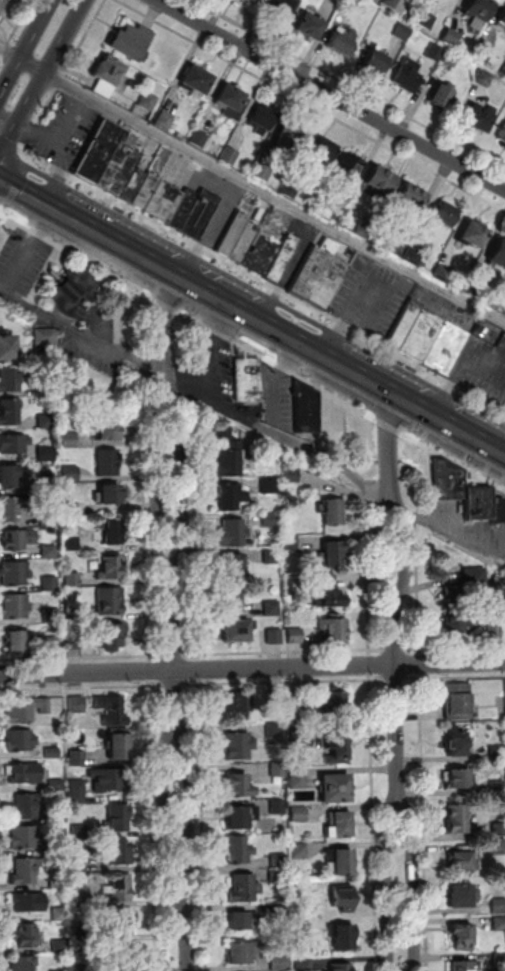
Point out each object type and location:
building: (340, 1)
building: (251, 2)
building: (352, 3)
building: (397, 4)
building: (2, 5)
building: (282, 9)
building: (479, 11)
building: (426, 20)
road: (18, 21)
building: (502, 21)
building: (310, 29)
building: (404, 32)
road: (82, 38)
building: (451, 38)
building: (131, 43)
road: (24, 44)
building: (341, 46)
road: (3, 47)
building: (436, 52)
building: (483, 53)
building: (451, 59)
building: (376, 64)
building: (110, 72)
building: (503, 73)
road: (41, 74)
building: (408, 76)
building: (484, 79)
road: (58, 82)
building: (197, 82)
road: (350, 84)
road: (328, 96)
building: (440, 98)
building: (148, 101)
building: (233, 104)
road: (312, 104)
road: (38, 119)
building: (165, 121)
building: (478, 121)
building: (263, 122)
parking lot: (66, 130)
building: (292, 137)
building: (502, 138)
building: (200, 140)
road: (11, 143)
building: (100, 152)
building: (230, 156)
building: (323, 158)
building: (120, 170)
building: (351, 171)
building: (264, 172)
building: (381, 183)
road: (252, 184)
road: (17, 186)
building: (134, 187)
building: (291, 189)
building: (147, 192)
road: (30, 198)
building: (412, 198)
building: (165, 202)
building: (185, 210)
building: (336, 213)
road: (3, 214)
building: (201, 215)
parking lot: (224, 215)
building: (443, 216)
road: (4, 224)
building: (367, 230)
building: (234, 234)
building: (472, 237)
building: (244, 243)
building: (396, 248)
building: (261, 255)
building: (413, 257)
building: (498, 257)
road: (80, 258)
building: (284, 258)
parking lot: (299, 259)
parking lot: (24, 262)
building: (442, 273)
building: (321, 276)
road: (263, 281)
building: (474, 285)
building: (75, 296)
parking lot: (372, 297)
road: (168, 305)
road: (121, 312)
road: (350, 316)
building: (406, 324)
road: (165, 326)
road: (84, 335)
road: (283, 335)
building: (423, 336)
building: (46, 337)
parking lot: (95, 344)
building: (448, 349)
building: (7, 350)
road: (216, 353)
road: (132, 361)
road: (277, 364)
parking lot: (485, 364)
road: (463, 368)
parking lot: (214, 370)
building: (50, 371)
road: (191, 377)
building: (9, 380)
building: (250, 382)
road: (168, 385)
building: (46, 389)
road: (189, 392)
parking lot: (281, 399)
building: (307, 411)
building: (9, 414)
building: (47, 422)
road: (388, 426)
building: (109, 433)
building: (224, 434)
road: (347, 435)
road: (284, 437)
building: (69, 440)
building: (14, 445)
road: (391, 450)
building: (47, 453)
building: (231, 460)
road: (454, 461)
building: (108, 463)
building: (71, 474)
building: (292, 475)
building: (8, 477)
road: (184, 479)
road: (158, 480)
building: (47, 483)
building: (450, 483)
building: (270, 487)
building: (232, 496)
building: (111, 497)
building: (479, 507)
building: (12, 508)
building: (70, 510)
building: (498, 511)
building: (334, 512)
building: (48, 519)
road: (146, 519)
building: (270, 520)
parking lot: (472, 527)
building: (233, 533)
building: (115, 534)
road: (448, 535)
building: (19, 540)
building: (72, 543)
building: (292, 543)
road: (419, 550)
building: (49, 553)
road: (382, 554)
road: (405, 554)
building: (271, 556)
building: (333, 556)
building: (234, 566)
building: (111, 568)
building: (16, 573)
building: (73, 580)
building: (50, 585)
building: (467, 589)
building: (329, 595)
building: (232, 600)
building: (110, 601)
building: (16, 607)
building: (272, 609)
building: (74, 616)
building: (52, 617)
building: (457, 627)
building: (238, 632)
building: (335, 633)
building: (113, 637)
building: (276, 637)
building: (296, 637)
building: (16, 642)
building: (52, 644)
building: (75, 644)
road: (455, 649)
road: (396, 650)
road: (286, 651)
road: (173, 653)
road: (175, 655)
road: (82, 657)
road: (422, 663)
road: (252, 668)
road: (150, 670)
road: (455, 678)
road: (396, 680)
road: (286, 681)
road: (175, 683)
road: (197, 683)
road: (81, 687)
road: (396, 693)
building: (277, 699)
building: (297, 701)
building: (335, 702)
building: (459, 703)
building: (240, 704)
building: (78, 705)
building: (25, 709)
building: (112, 711)
road: (374, 730)
building: (276, 731)
building: (300, 735)
building: (20, 741)
building: (456, 745)
building: (239, 747)
building: (119, 749)
building: (338, 750)
building: (52, 753)
building: (498, 754)
building: (78, 758)
building: (278, 771)
building: (28, 774)
building: (110, 779)
building: (299, 780)
building: (459, 781)
building: (57, 785)
building: (240, 787)
building: (499, 787)
road: (166, 788)
road: (192, 788)
building: (78, 790)
building: (336, 792)
building: (25, 806)
building: (279, 807)
building: (300, 814)
building: (57, 816)
building: (118, 817)
building: (241, 818)
building: (457, 820)
road: (425, 822)
road: (155, 825)
building: (340, 826)
building: (80, 830)
building: (500, 830)
building: (25, 837)
building: (499, 847)
building: (58, 850)
building: (300, 850)
building: (117, 851)
building: (240, 851)
building: (279, 860)
building: (79, 863)
building: (345, 863)
building: (464, 864)
building: (26, 871)
building: (279, 876)
road: (399, 877)
building: (58, 883)
building: (121, 887)
building: (243, 889)
building: (301, 889)
building: (462, 898)
building: (344, 899)
building: (83, 900)
building: (29, 903)
road: (182, 905)
building: (499, 907)
building: (281, 908)
building: (60, 913)
building: (245, 921)
building: (121, 922)
building: (303, 925)
building: (500, 925)
building: (81, 933)
building: (27, 935)
building: (343, 938)
building: (462, 941)
building: (60, 945)
building: (244, 953)
building: (124, 956)
building: (501, 960)
building: (281, 962)
building: (24, 964)
building: (305, 964)
building: (83, 965)
building: (466, 966)
building: (341, 967)
building: (60, 970)

